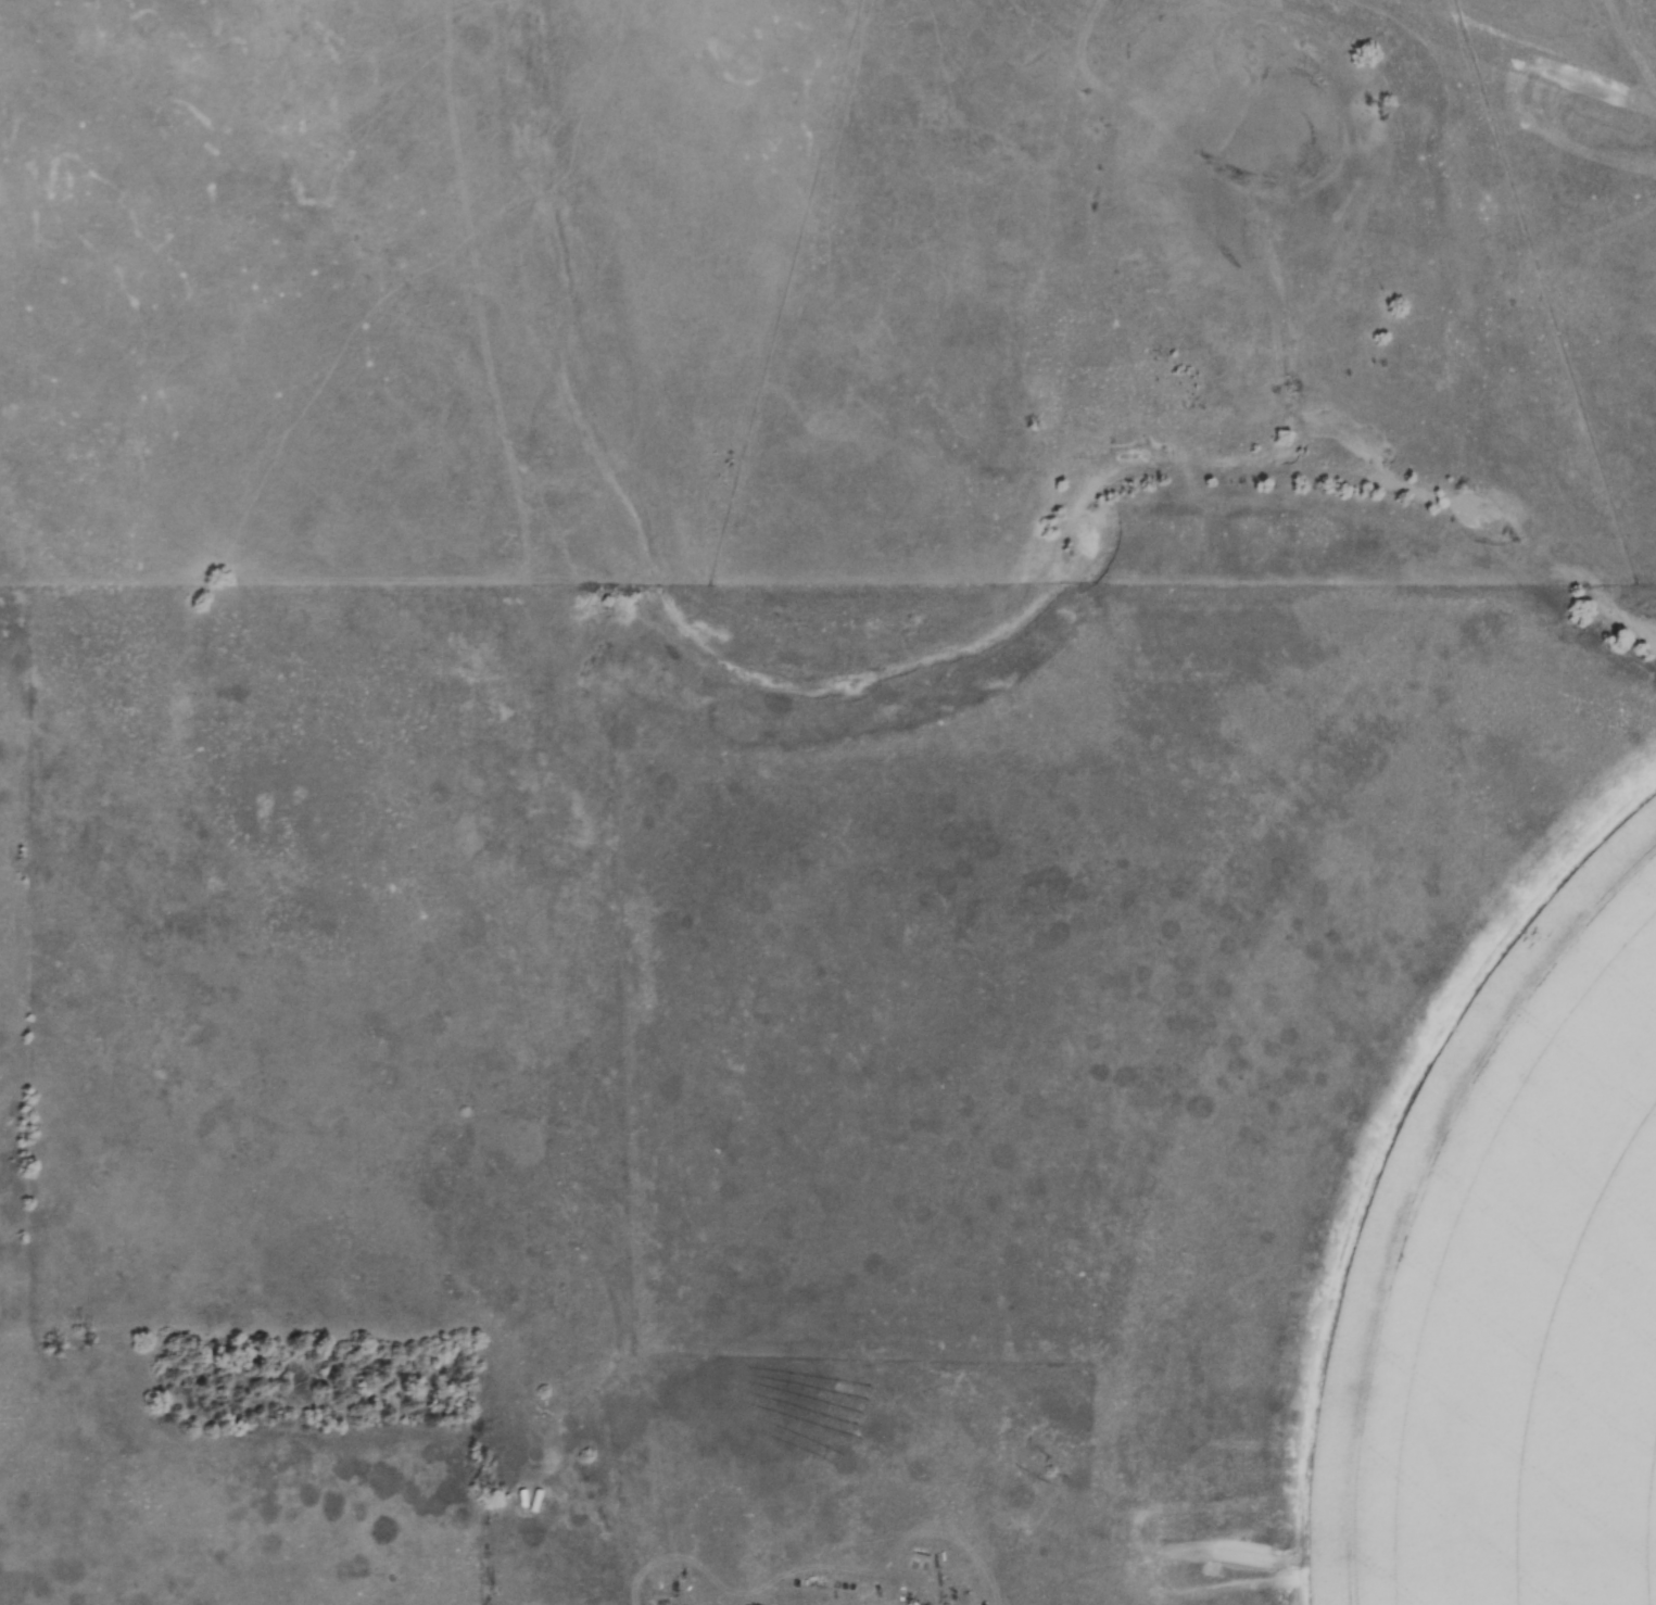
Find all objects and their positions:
building: (515, 1500)
building: (535, 1501)

